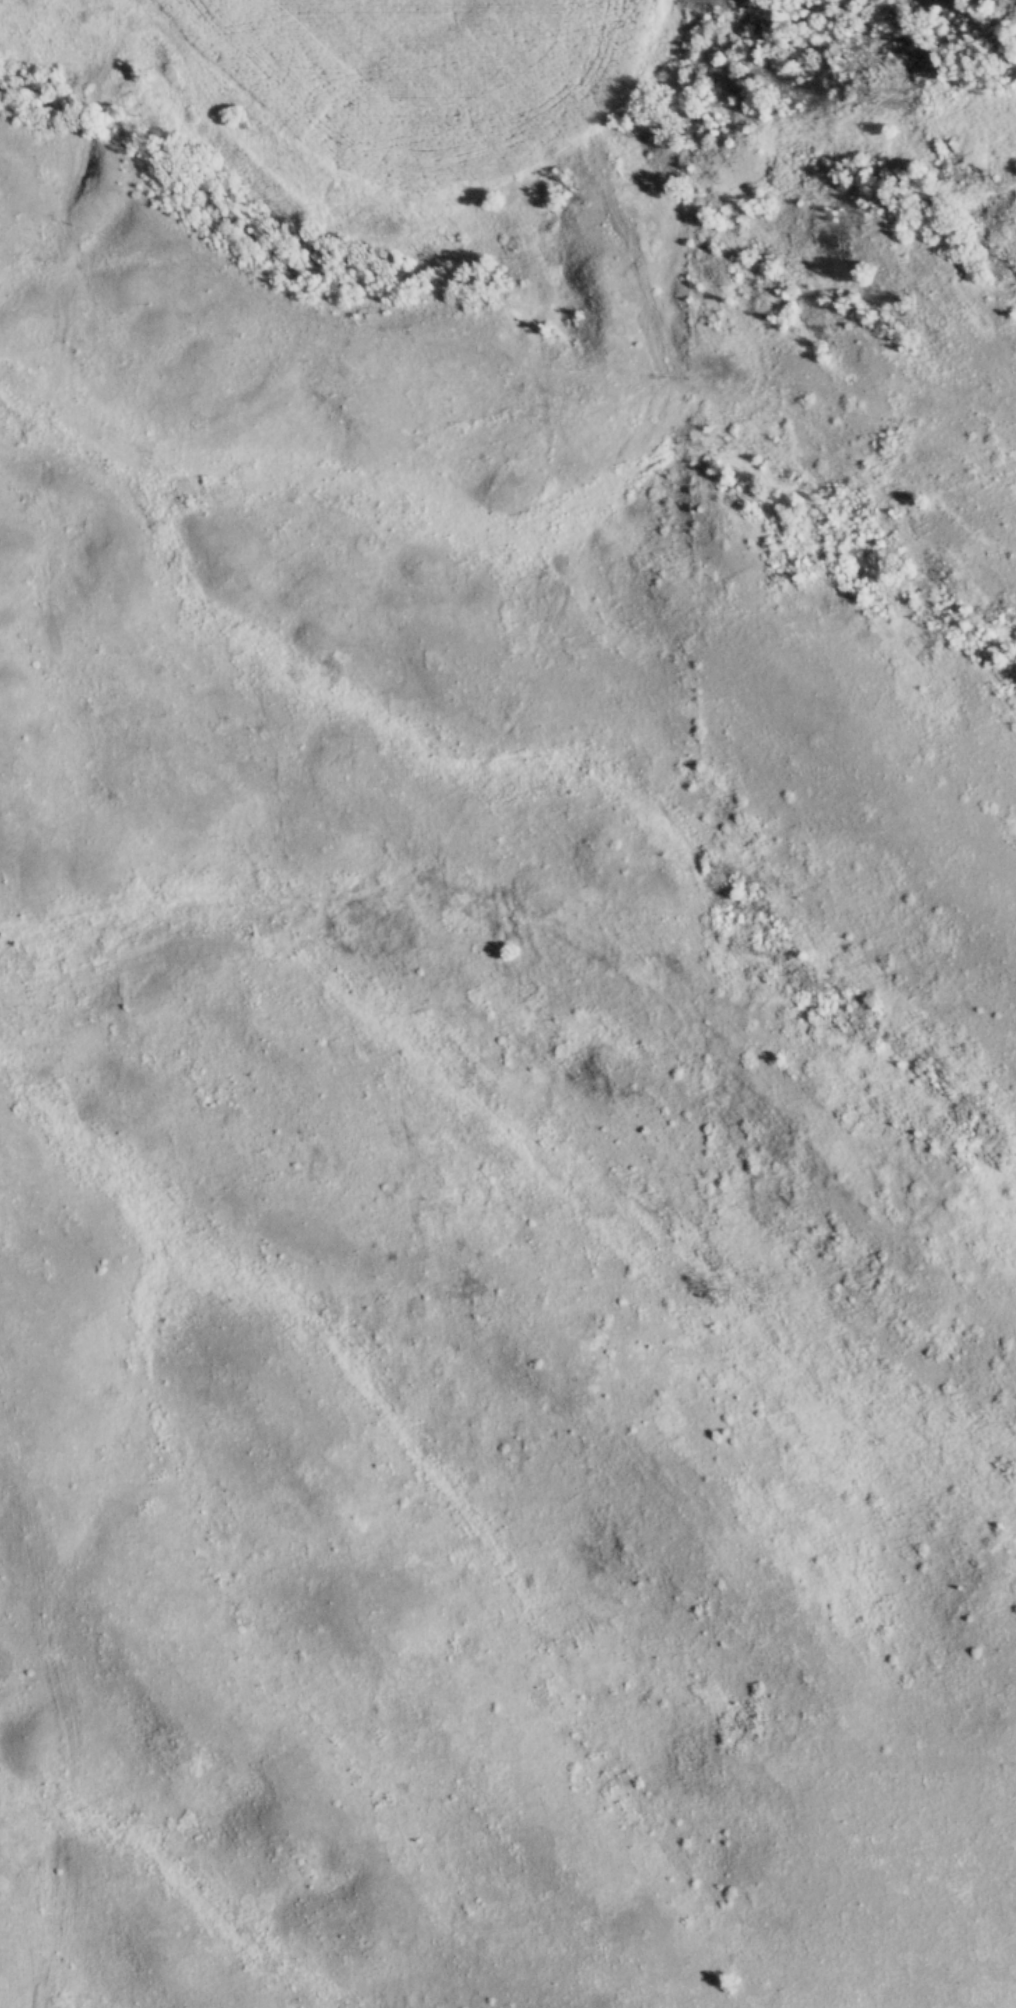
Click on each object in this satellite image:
power tower: (925, 106)

